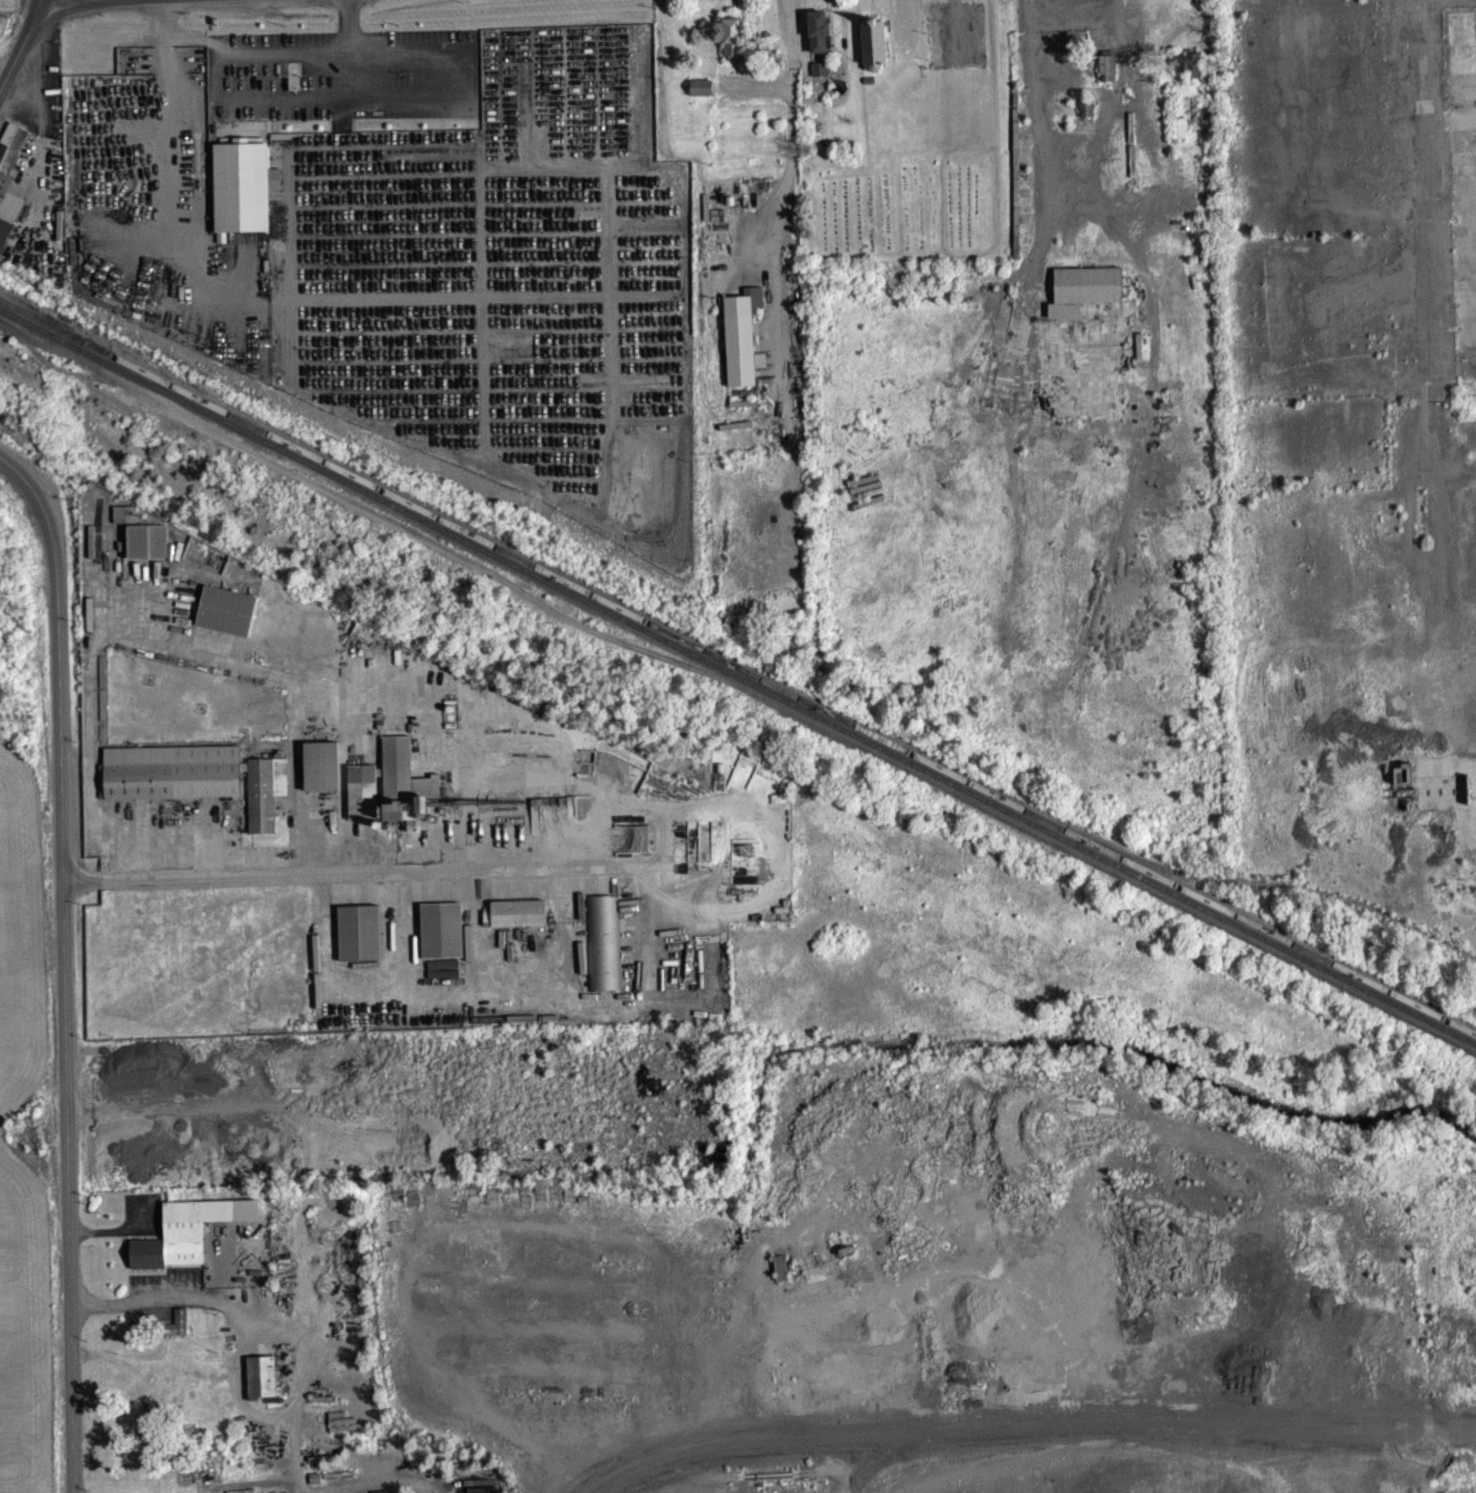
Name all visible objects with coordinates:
road: (97, 1)
building: (820, 41)
road: (22, 45)
building: (734, 48)
road: (352, 51)
building: (875, 54)
parking lot: (344, 73)
building: (1190, 73)
building: (821, 78)
building: (1108, 78)
building: (703, 97)
building: (1087, 117)
road: (790, 170)
road: (176, 178)
building: (243, 186)
building: (9, 189)
building: (1085, 299)
building: (744, 347)
building: (125, 524)
building: (147, 551)
building: (228, 620)
railway: (737, 666)
railway: (738, 675)
building: (323, 775)
building: (196, 787)
building: (393, 795)
road: (326, 874)
railway: (1273, 883)
building: (520, 922)
building: (443, 940)
building: (361, 942)
building: (604, 952)
road: (62, 964)
building: (155, 1077)
building: (264, 1080)
building: (186, 1230)
building: (782, 1278)
road: (264, 1316)
building: (176, 1321)
building: (178, 1333)
building: (260, 1375)

